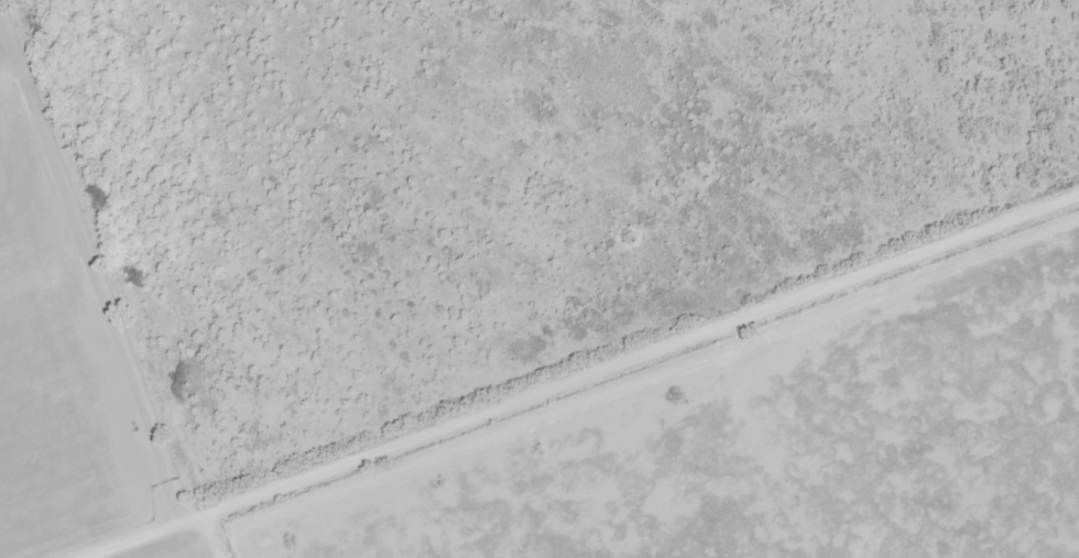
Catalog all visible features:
road: (581, 379)
road: (215, 537)

